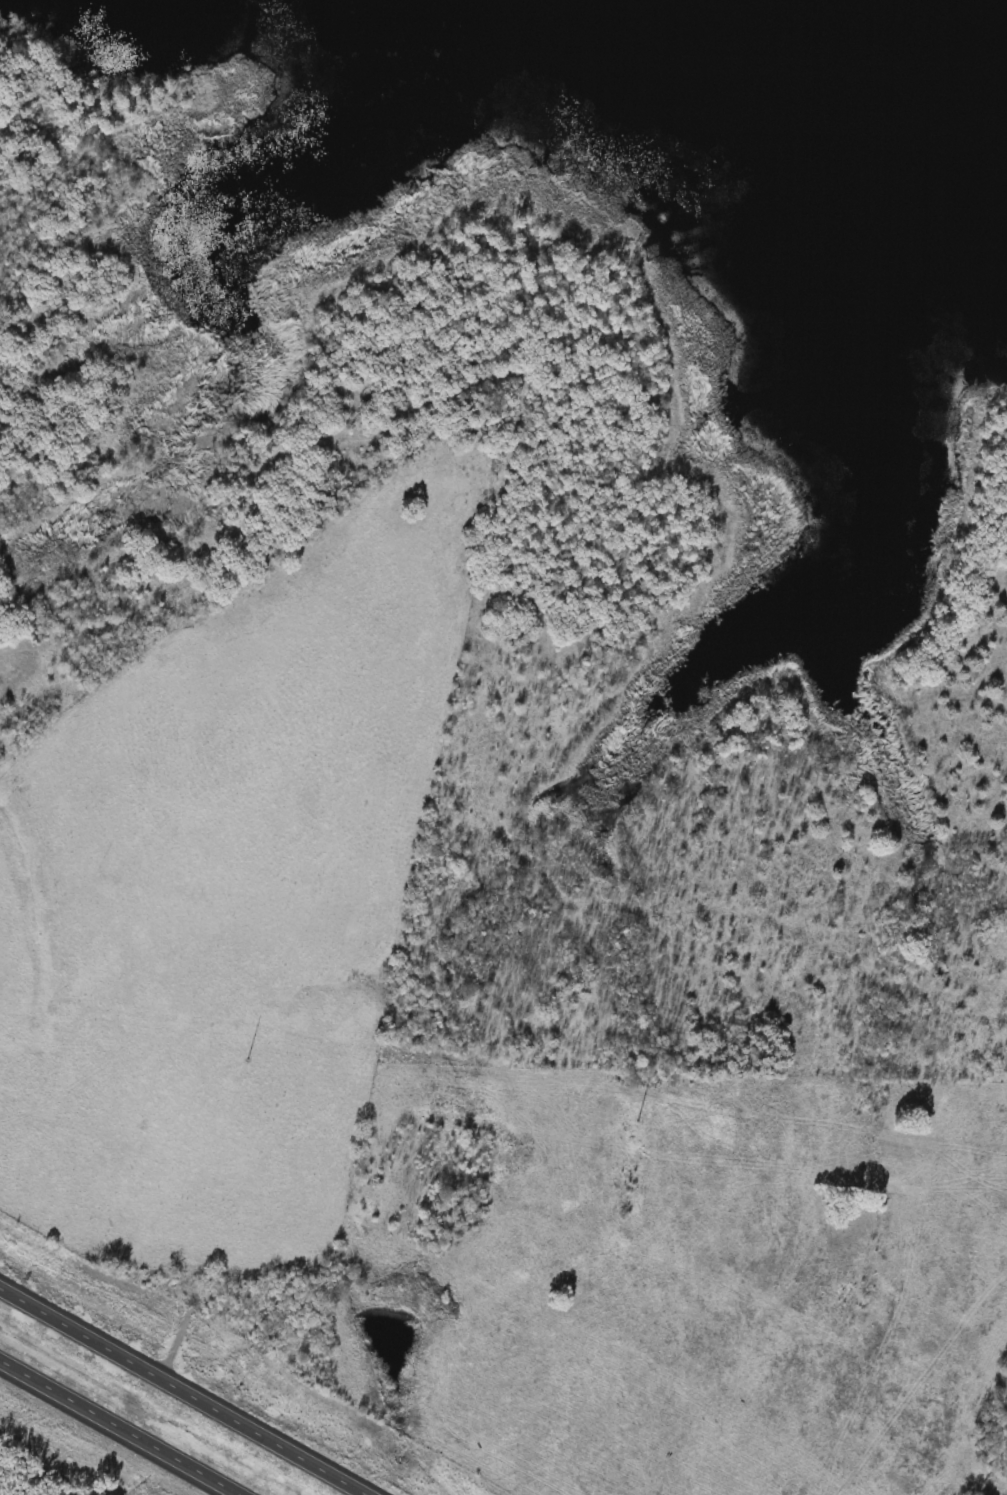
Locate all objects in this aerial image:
power tower: (250, 1058)
power tower: (638, 1122)
road: (183, 1391)
road: (118, 1428)

